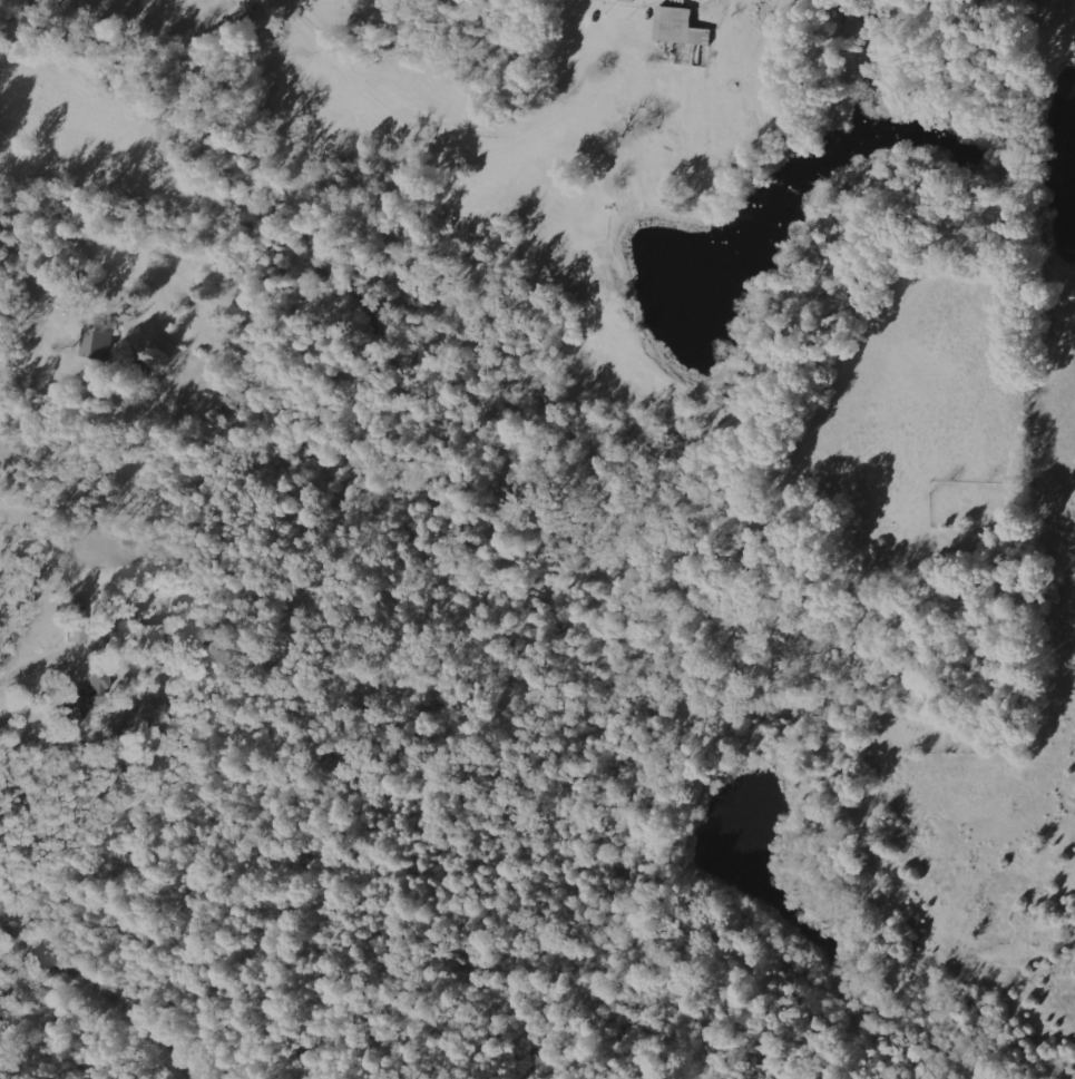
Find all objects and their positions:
building: (632, 0)
building: (683, 26)
building: (100, 342)
building: (75, 622)
building: (150, 641)
building: (85, 699)
road: (97, 988)
park: (55, 1036)

